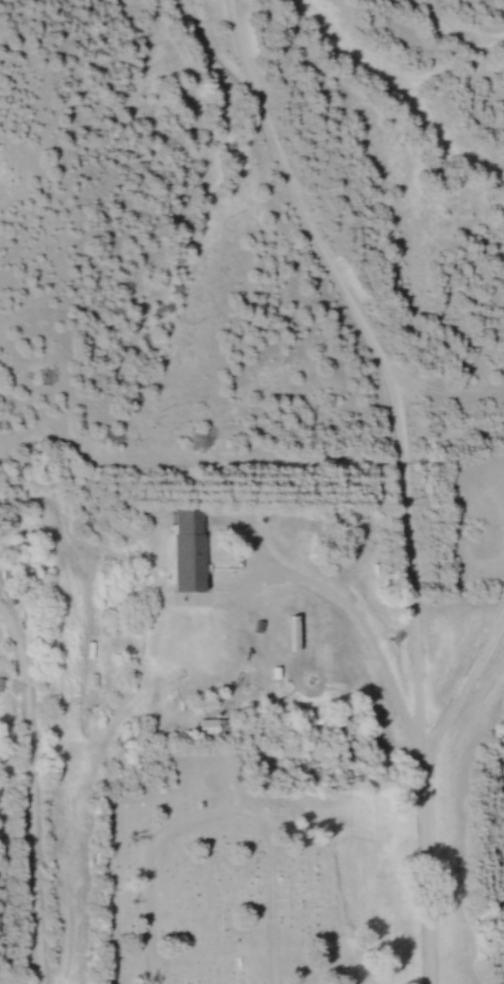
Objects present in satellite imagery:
road: (378, 368)
park: (472, 503)
building: (186, 551)
road: (362, 623)
road: (18, 642)
road: (462, 686)
building: (212, 728)
road: (214, 820)
road: (32, 834)
road: (424, 874)
park: (249, 880)

